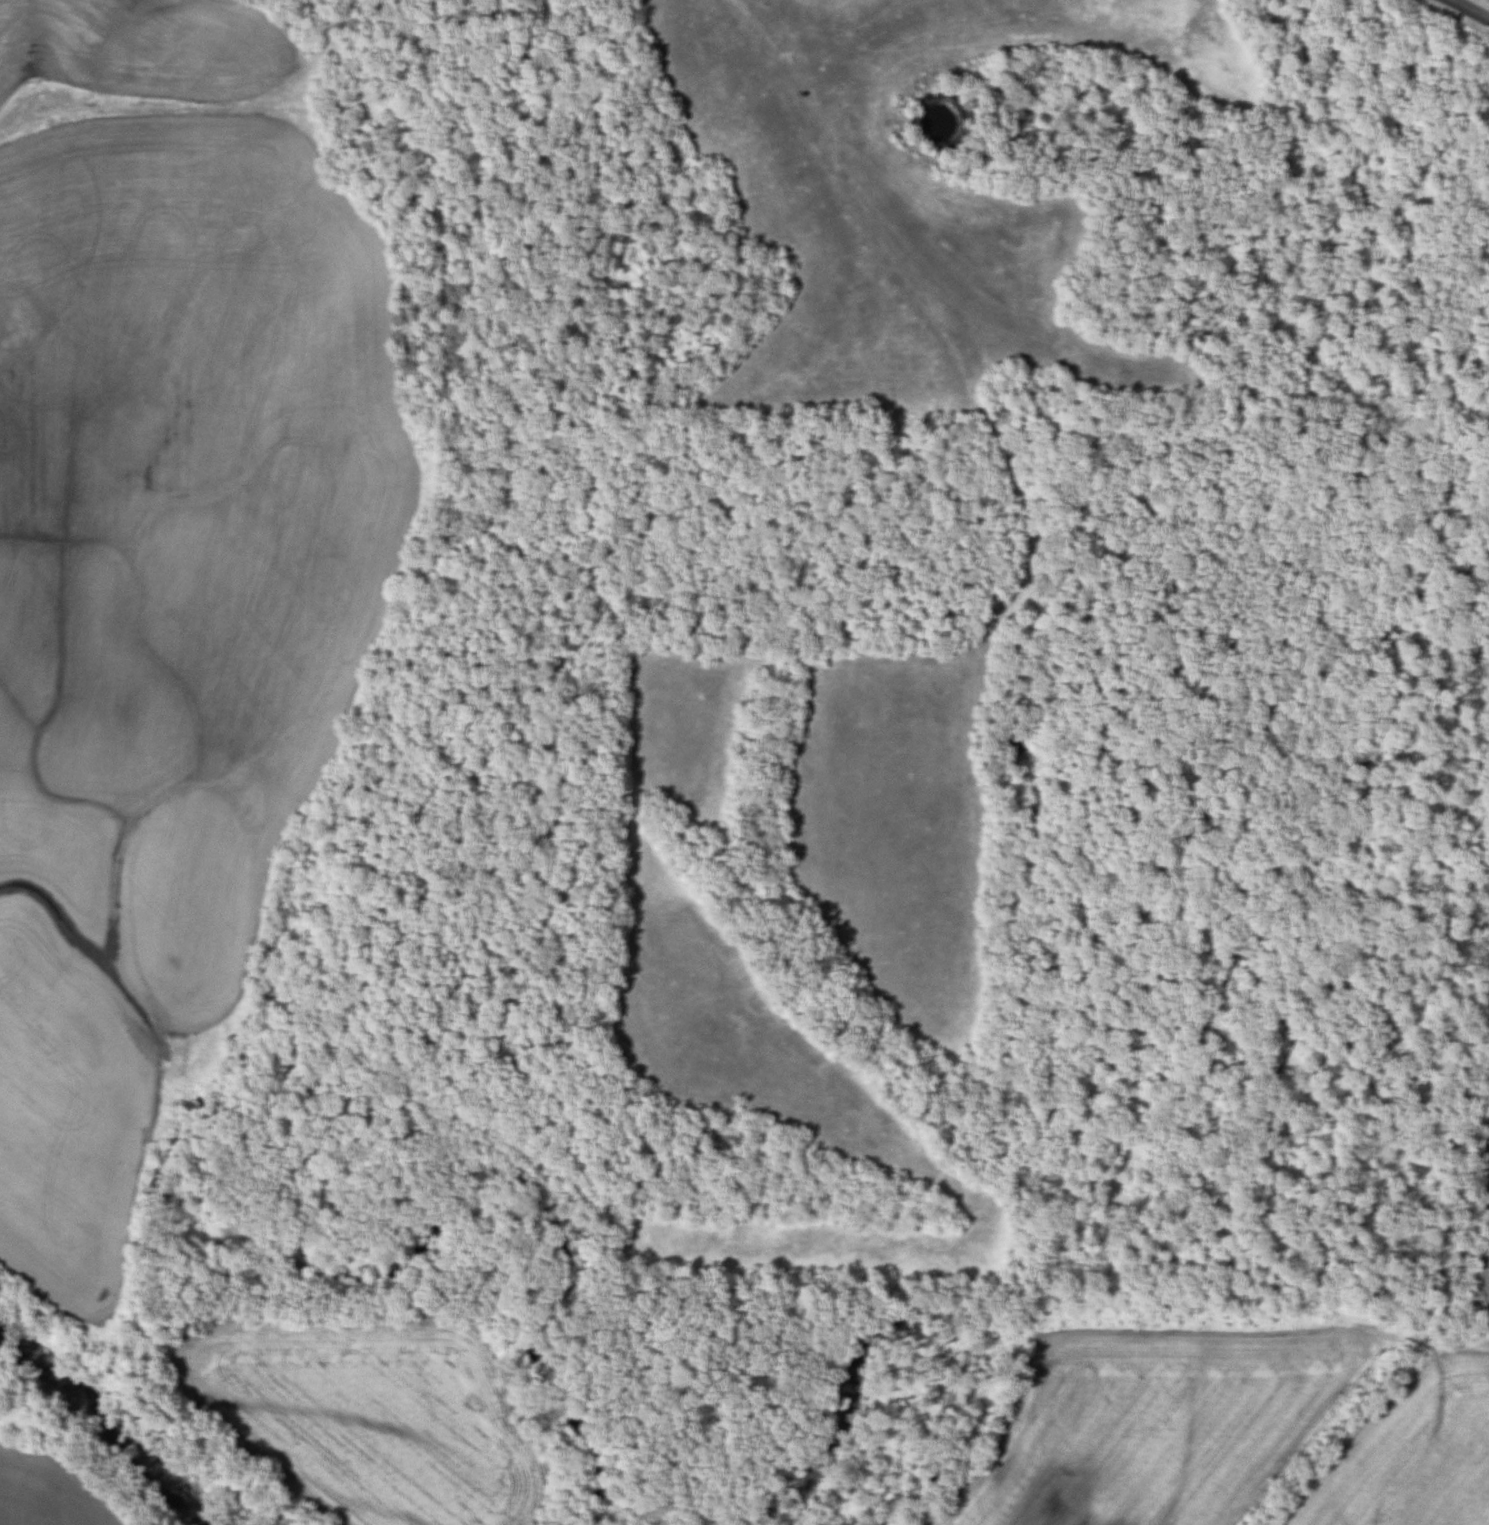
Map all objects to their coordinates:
road: (1473, 7)

